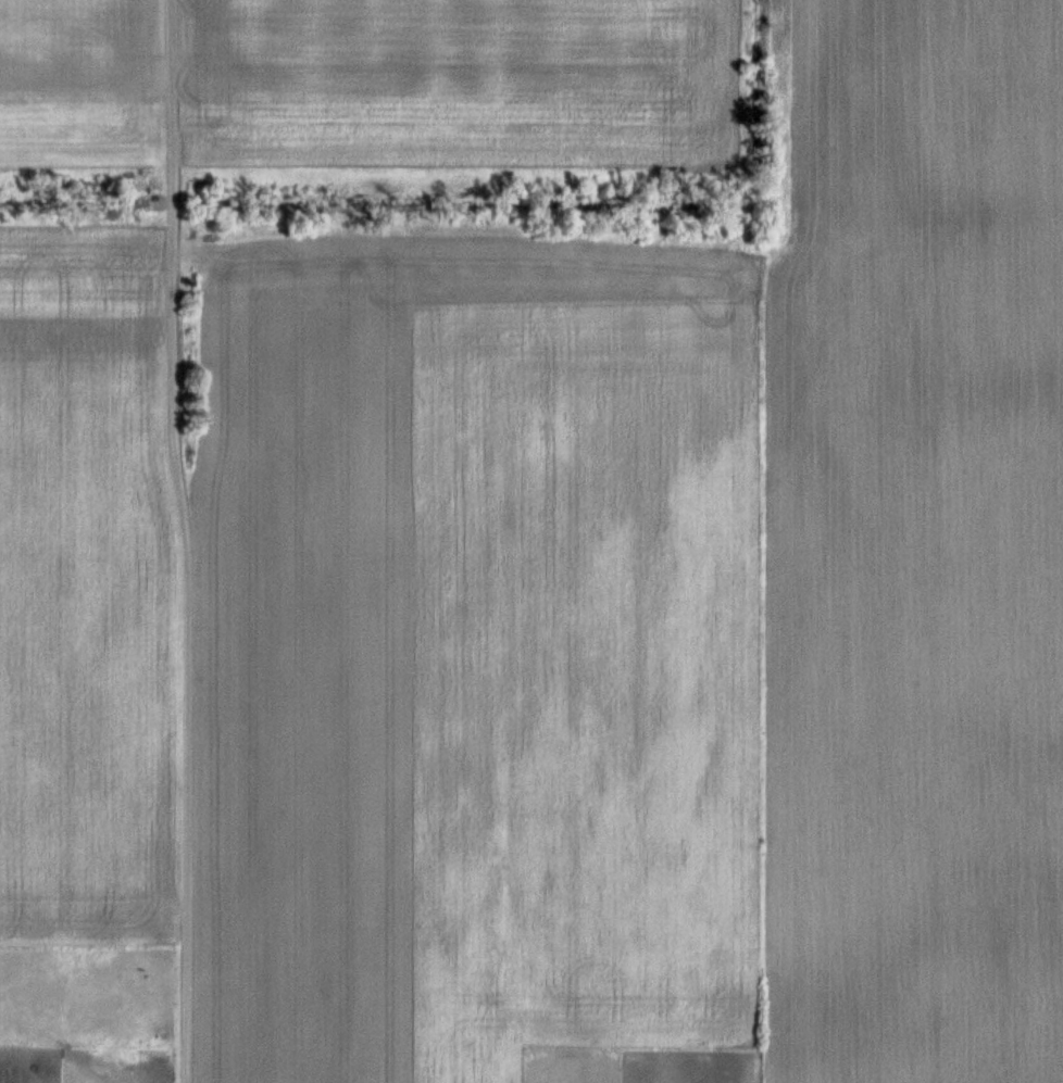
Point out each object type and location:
road: (164, 541)

